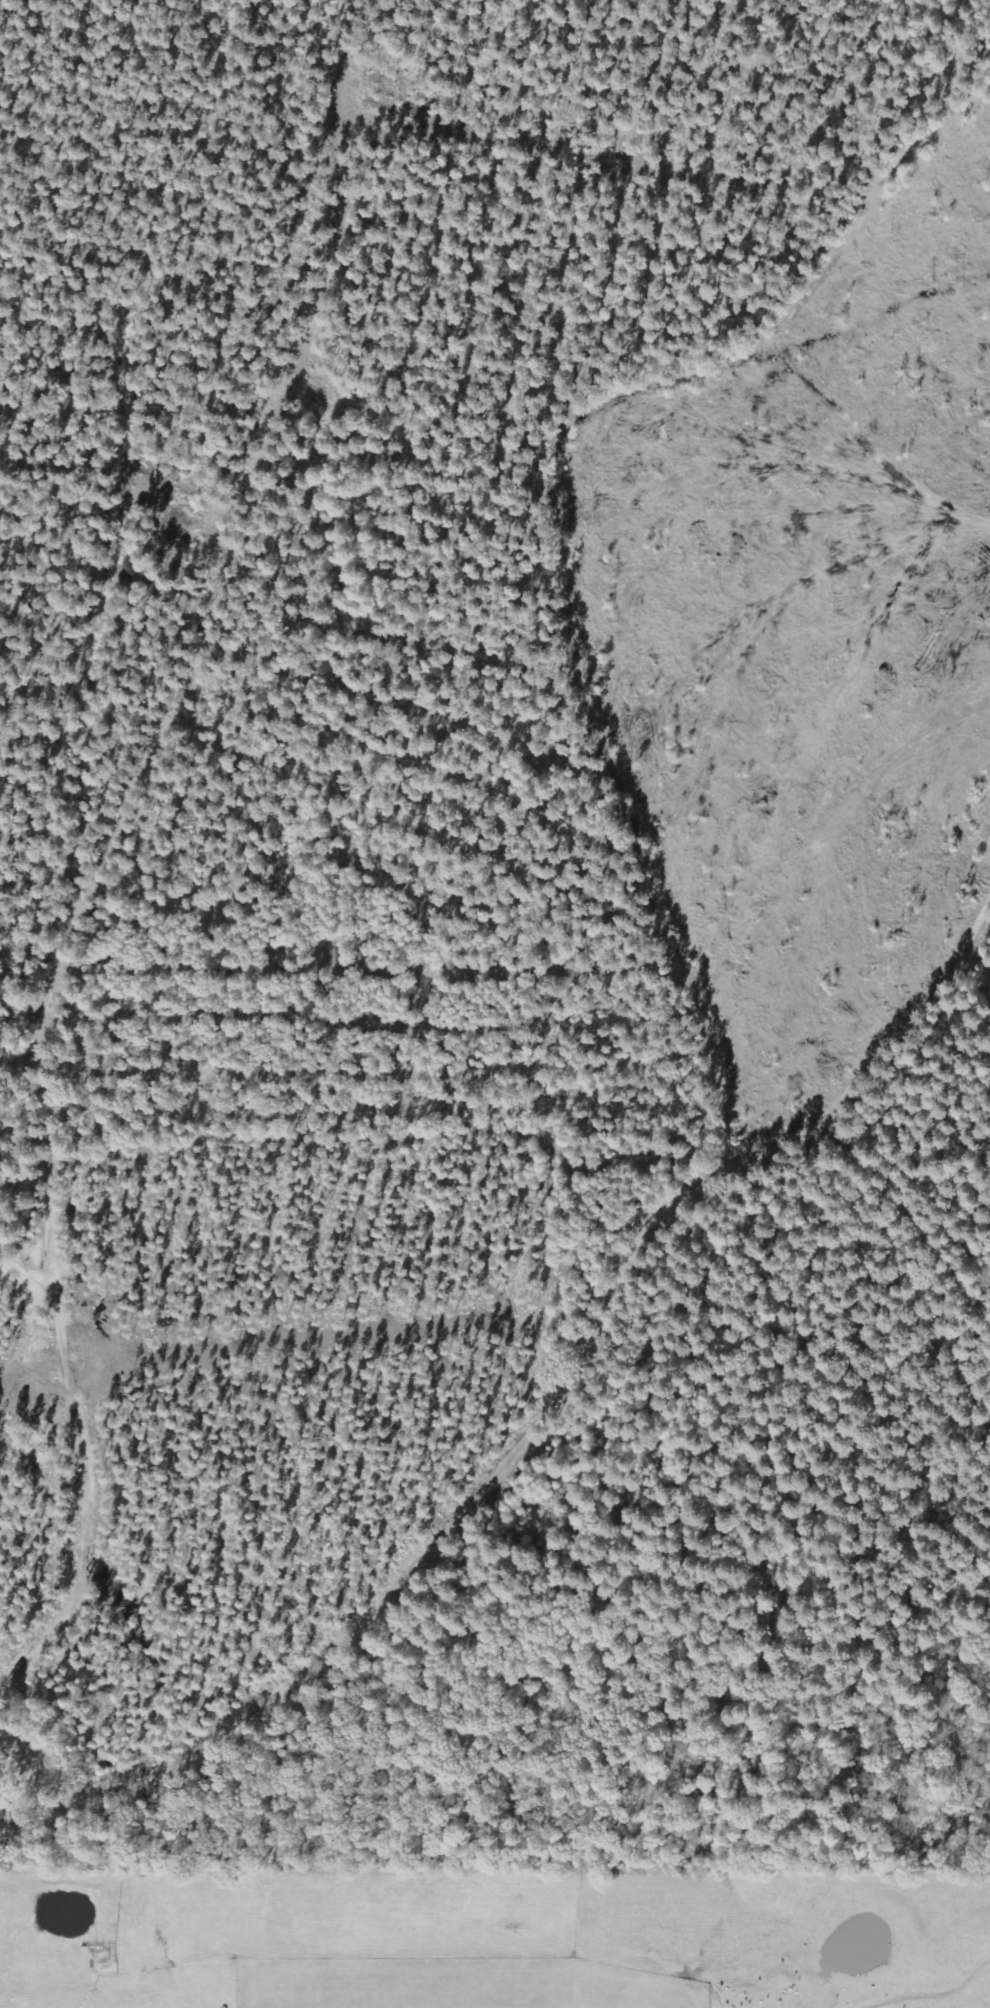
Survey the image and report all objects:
road: (528, 1398)

